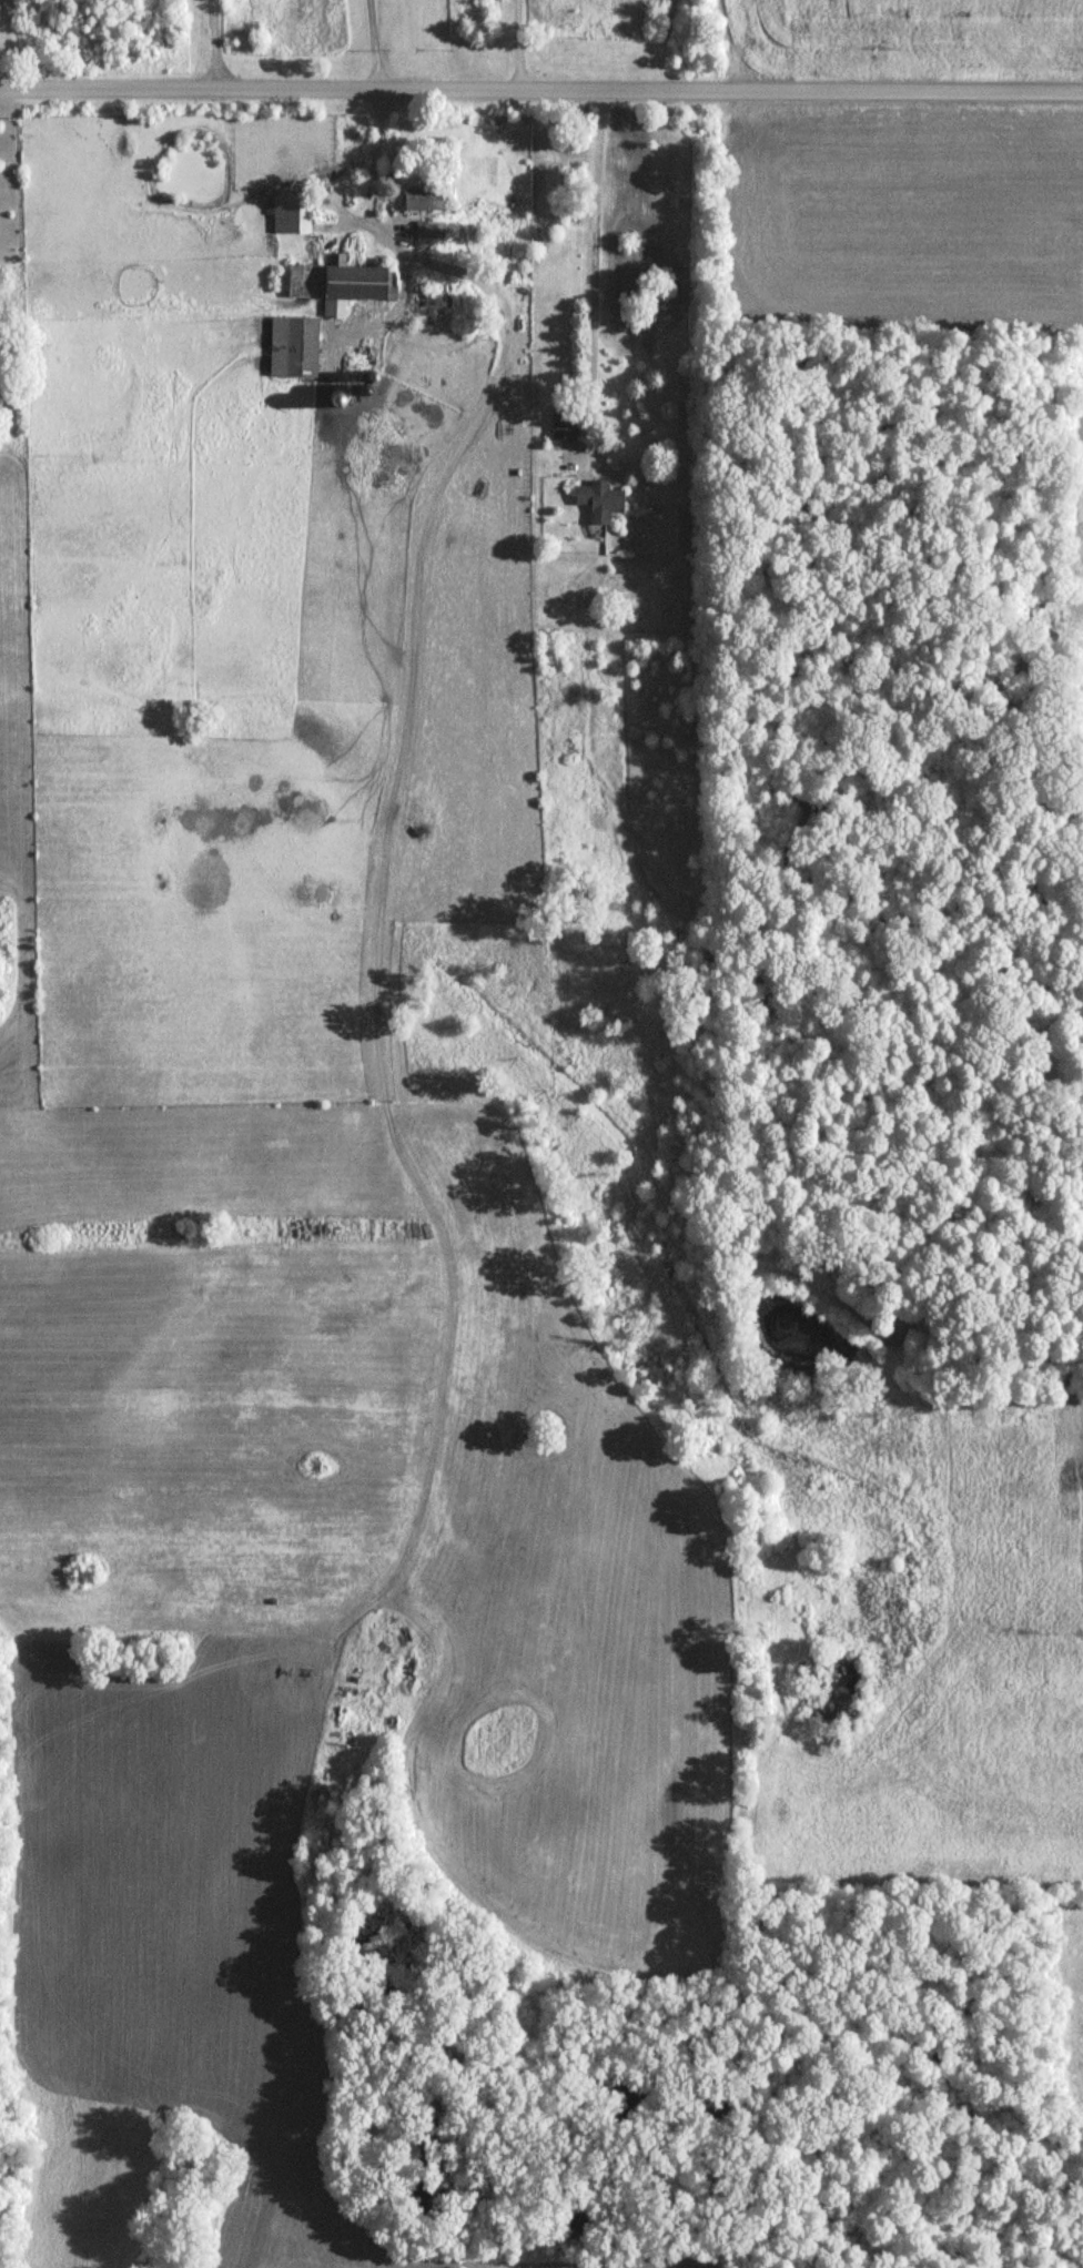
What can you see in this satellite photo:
road: (214, 48)
road: (374, 48)
road: (518, 48)
road: (540, 97)
building: (422, 201)
building: (290, 215)
building: (428, 232)
road: (596, 265)
road: (446, 270)
building: (336, 286)
building: (294, 350)
building: (563, 427)
building: (599, 504)

